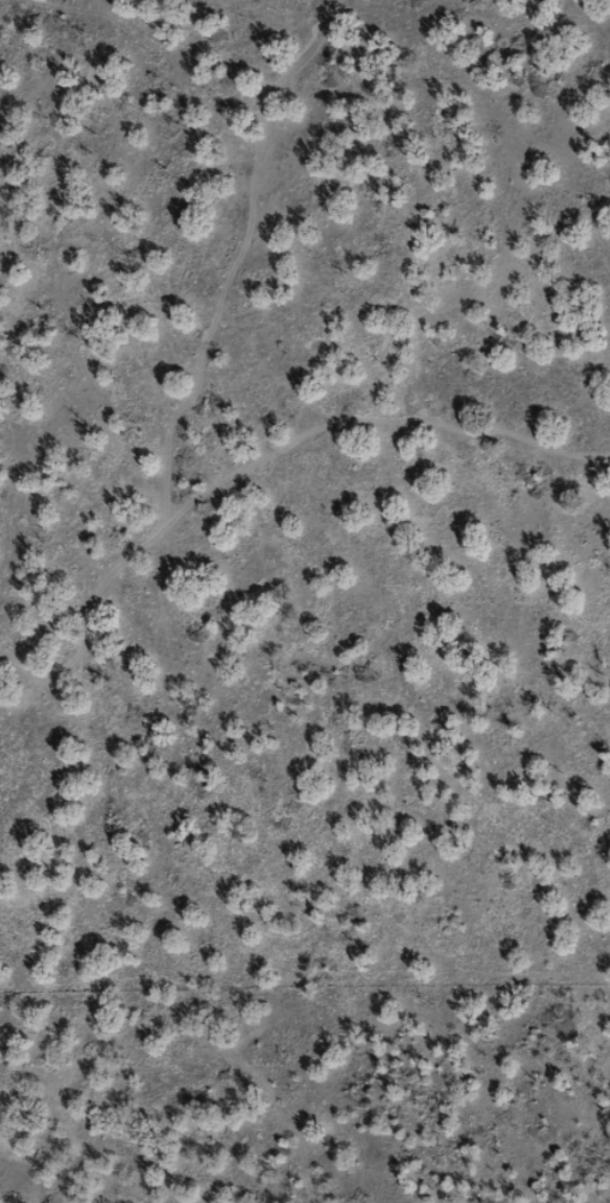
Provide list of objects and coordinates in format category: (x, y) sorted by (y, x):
road: (219, 340)

